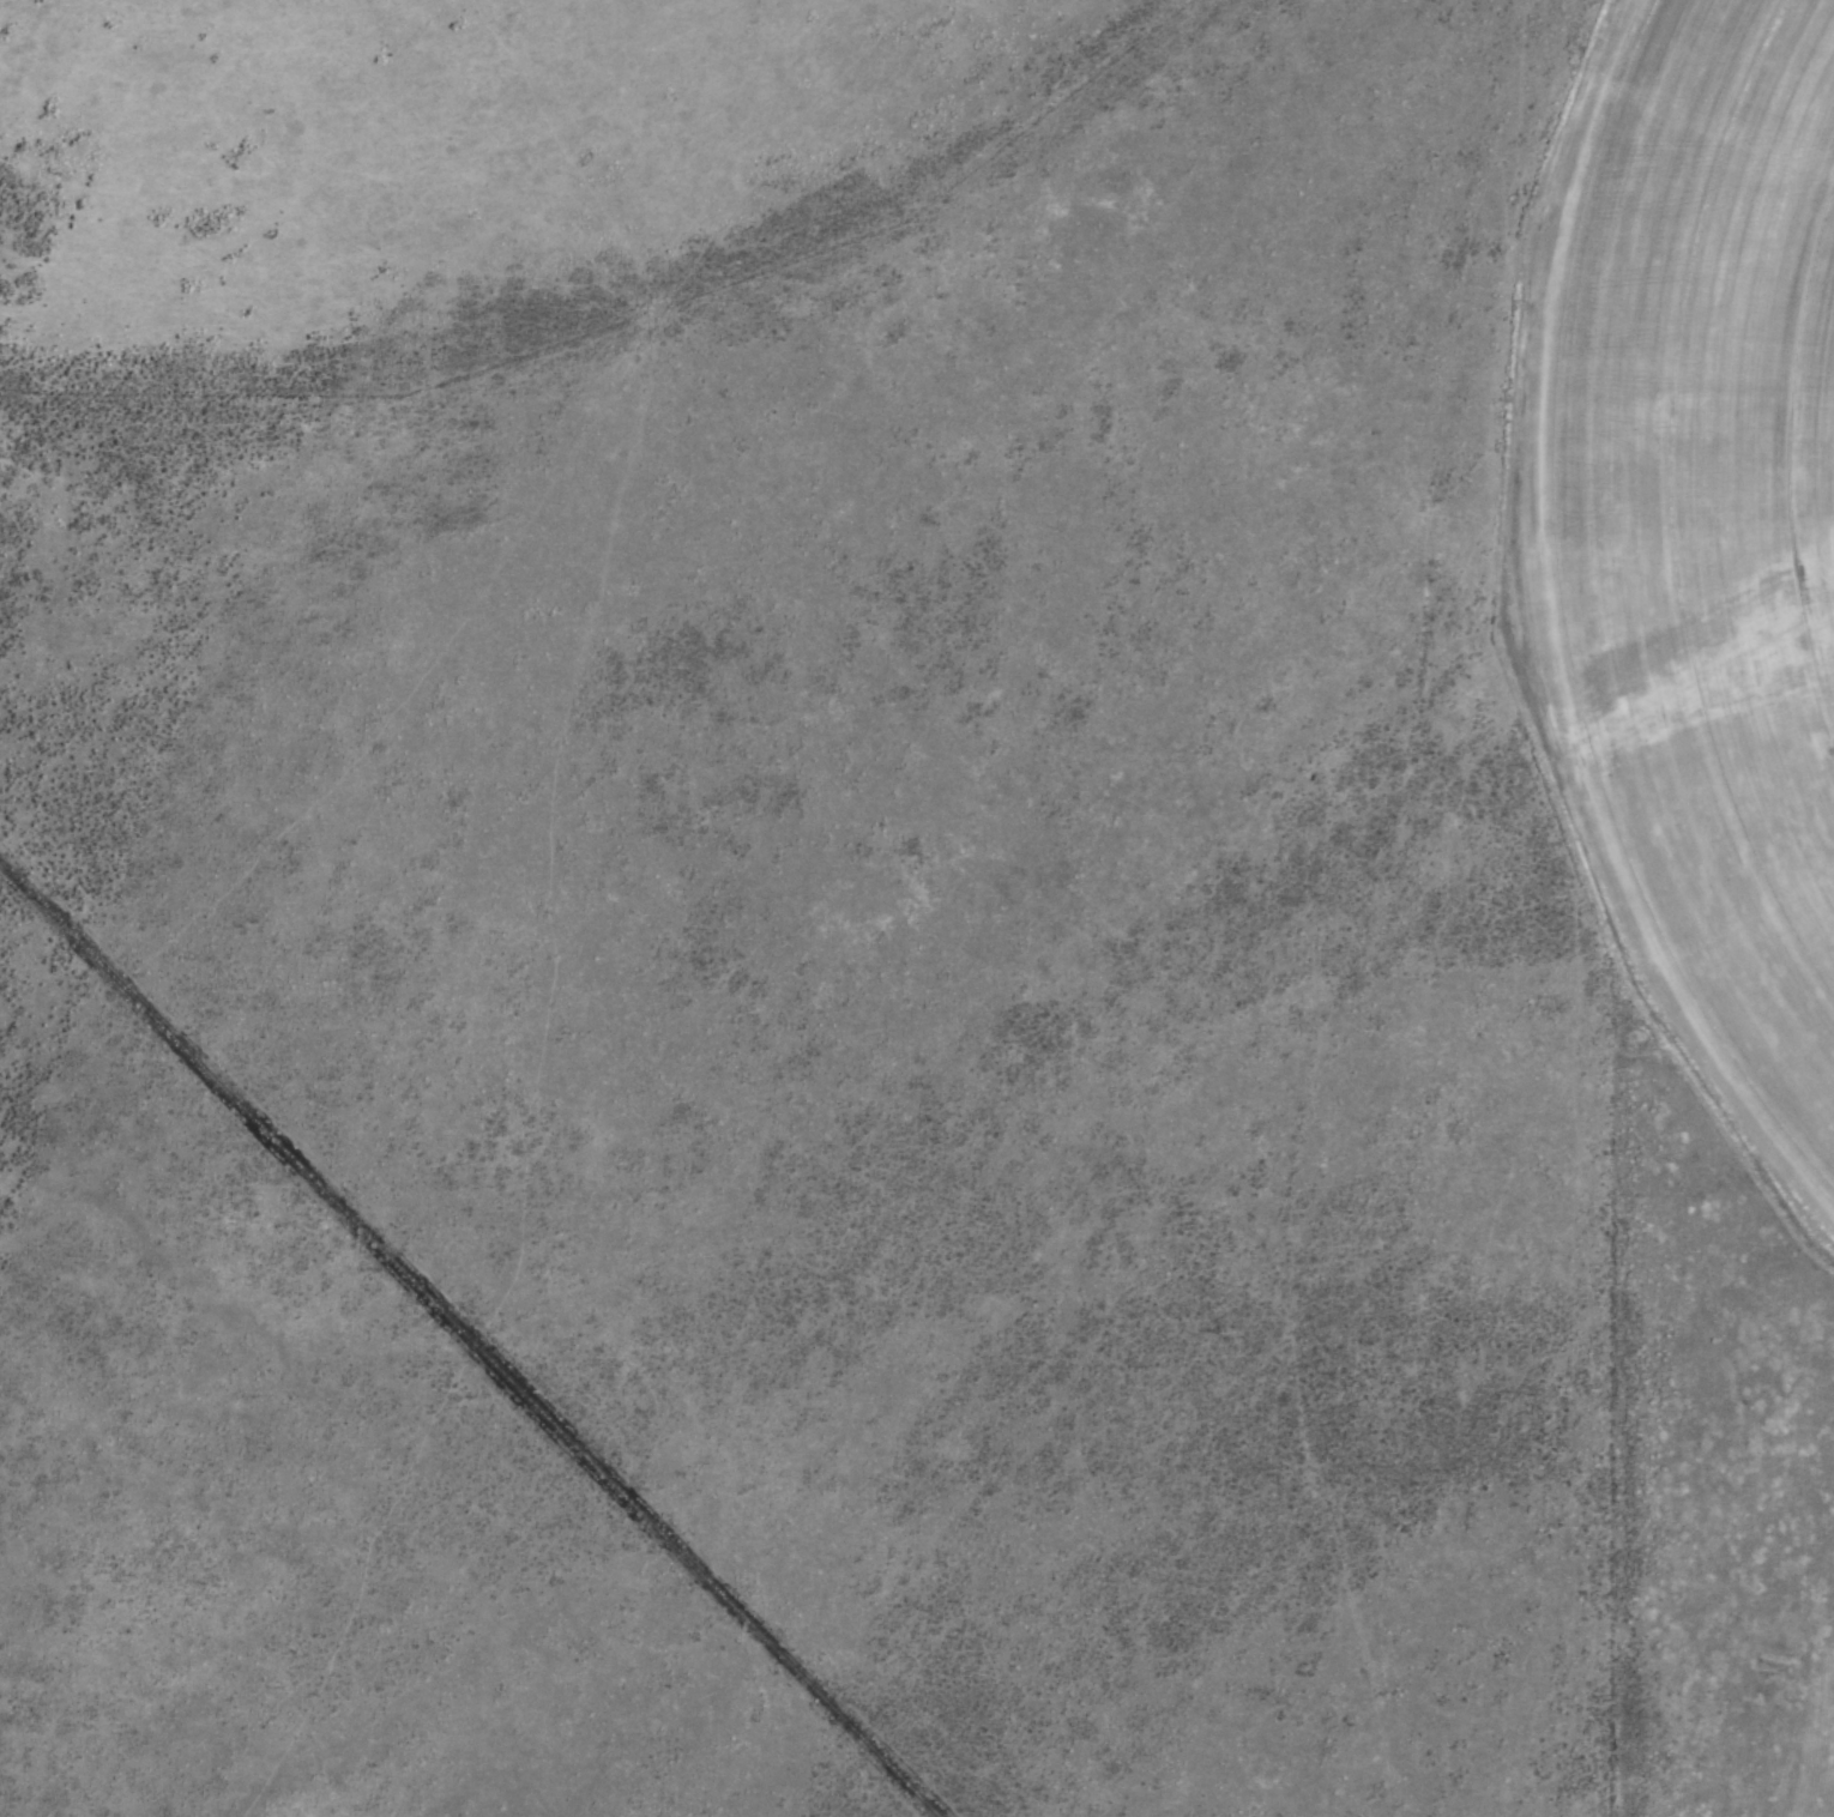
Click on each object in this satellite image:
road: (1394, 912)
crop: (824, 949)
railway: (469, 1340)

